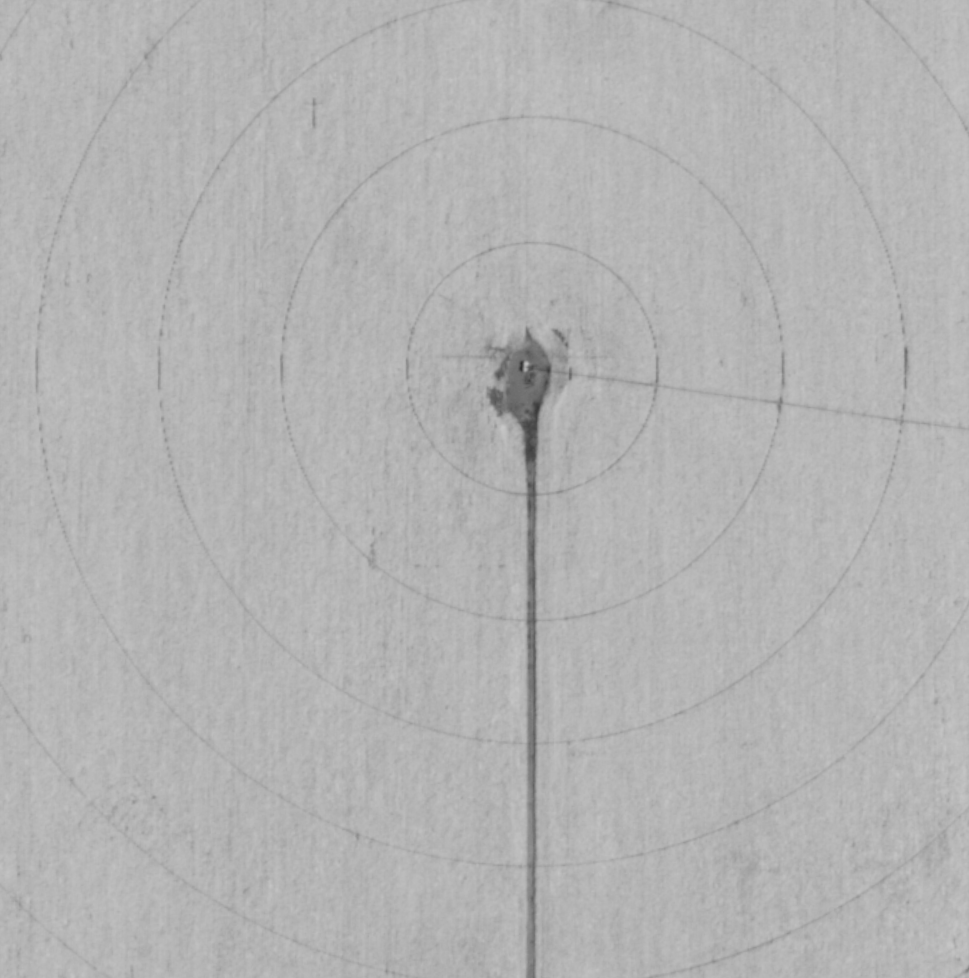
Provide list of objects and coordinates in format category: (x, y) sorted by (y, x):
crop: (484, 489)

